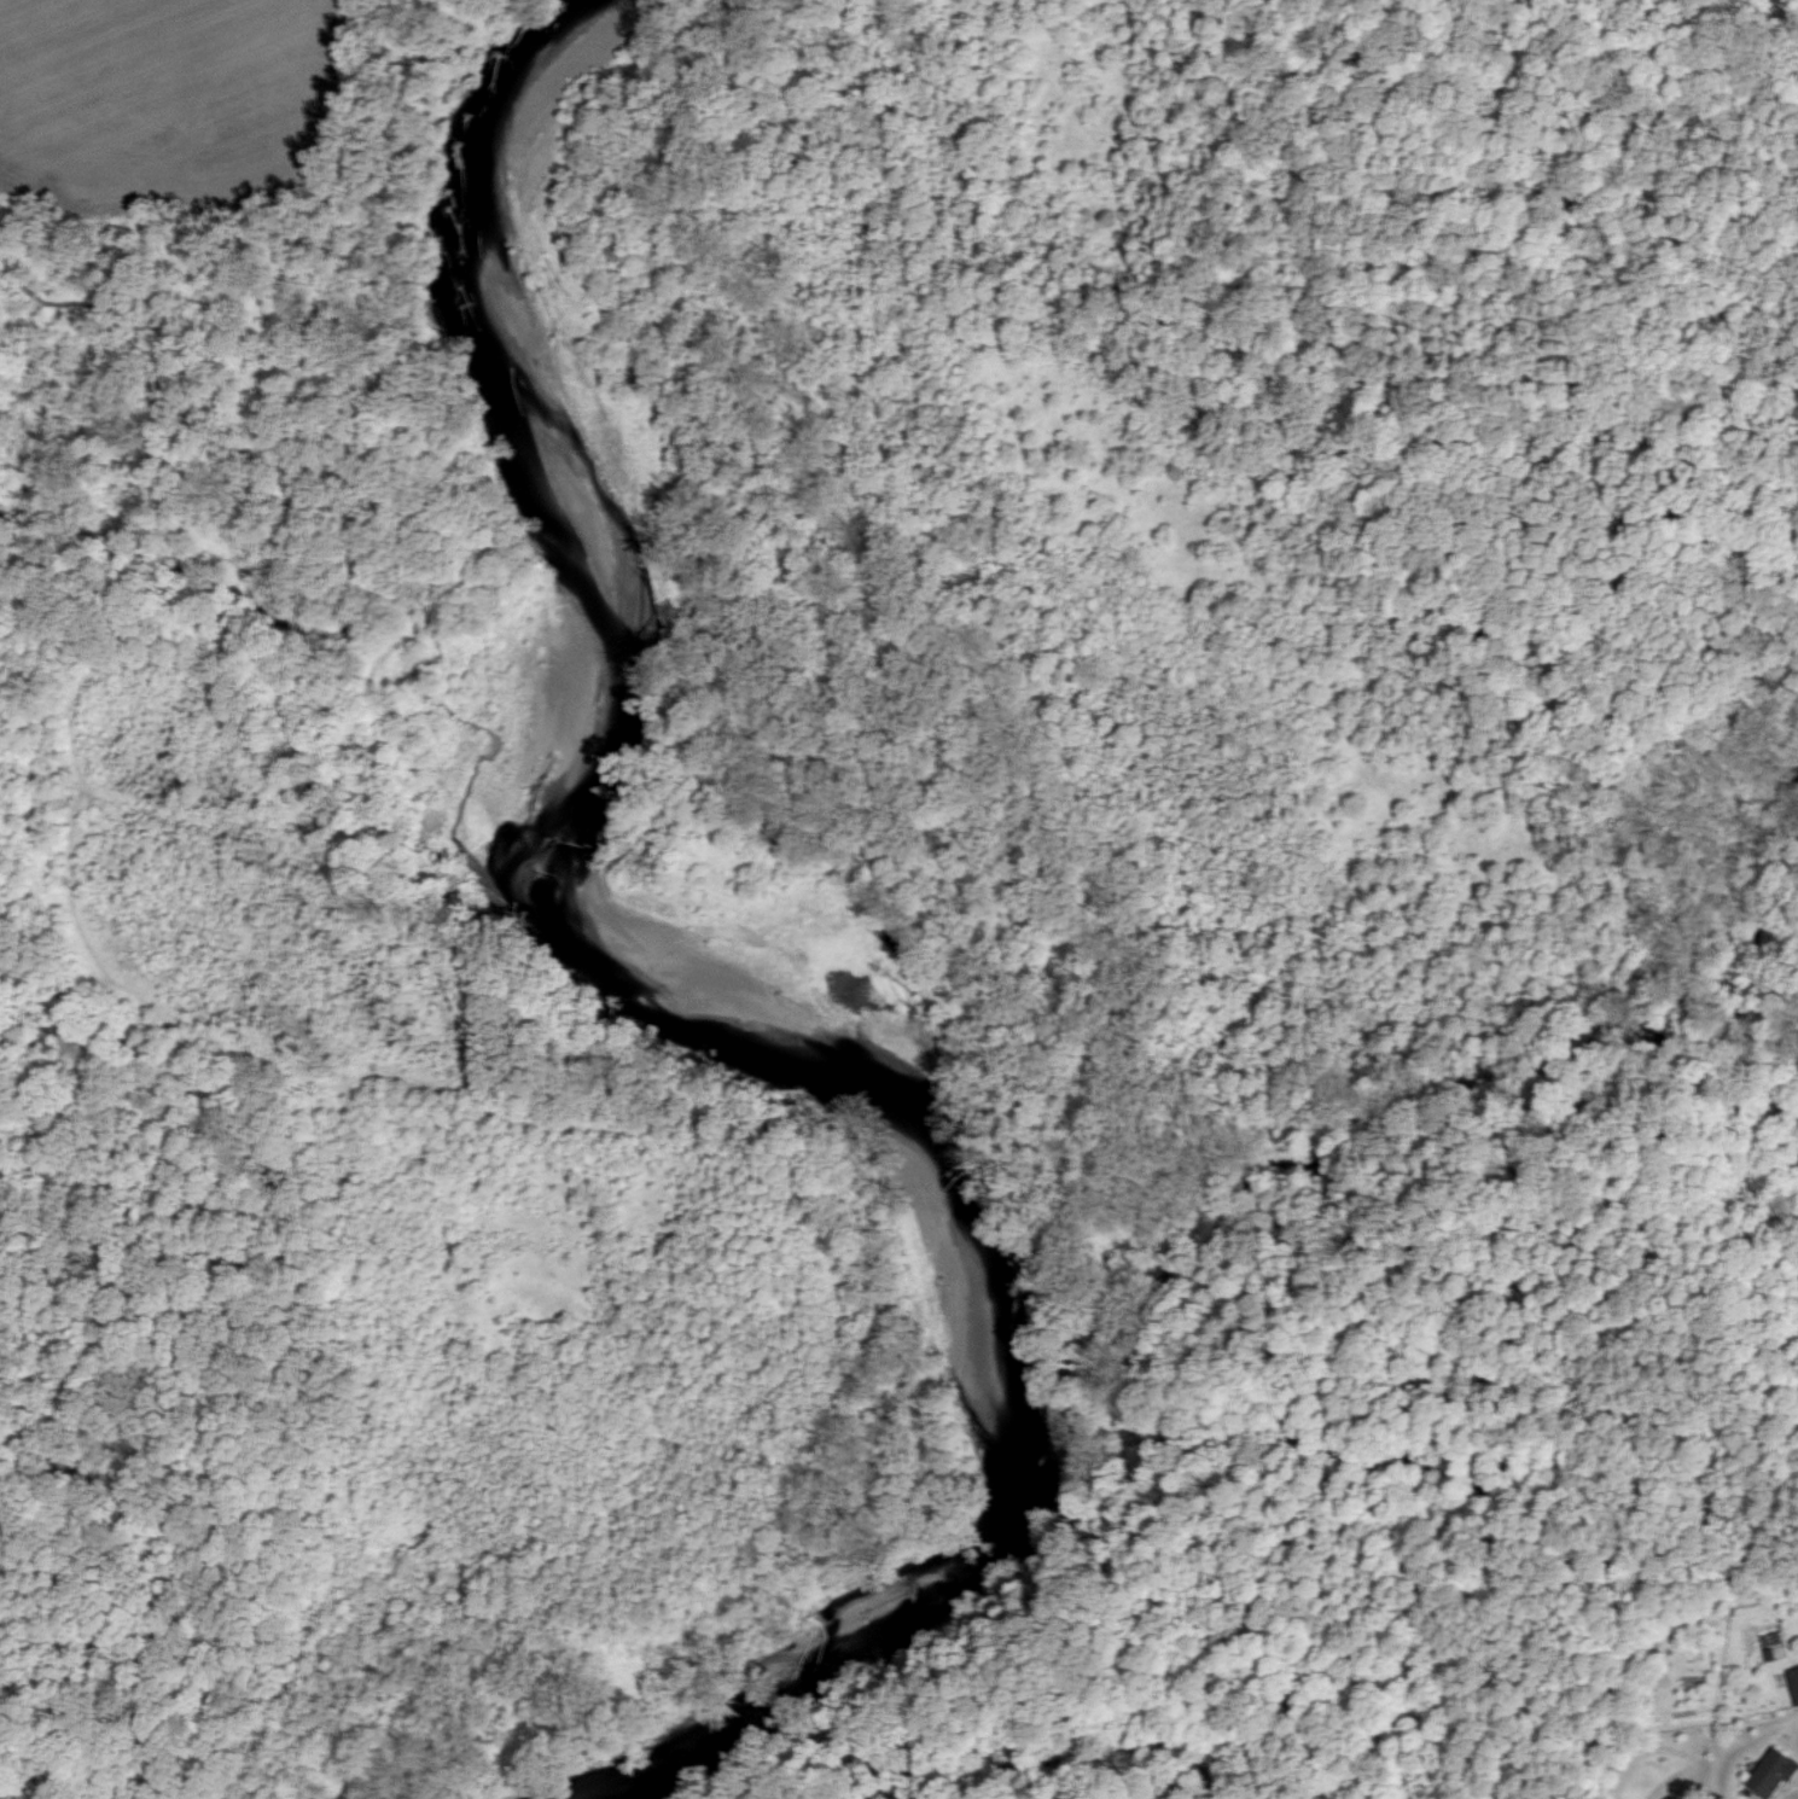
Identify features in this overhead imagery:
road: (173, 664)
river: (737, 925)
road: (221, 1205)
building: (1793, 1684)
building: (1776, 1770)

